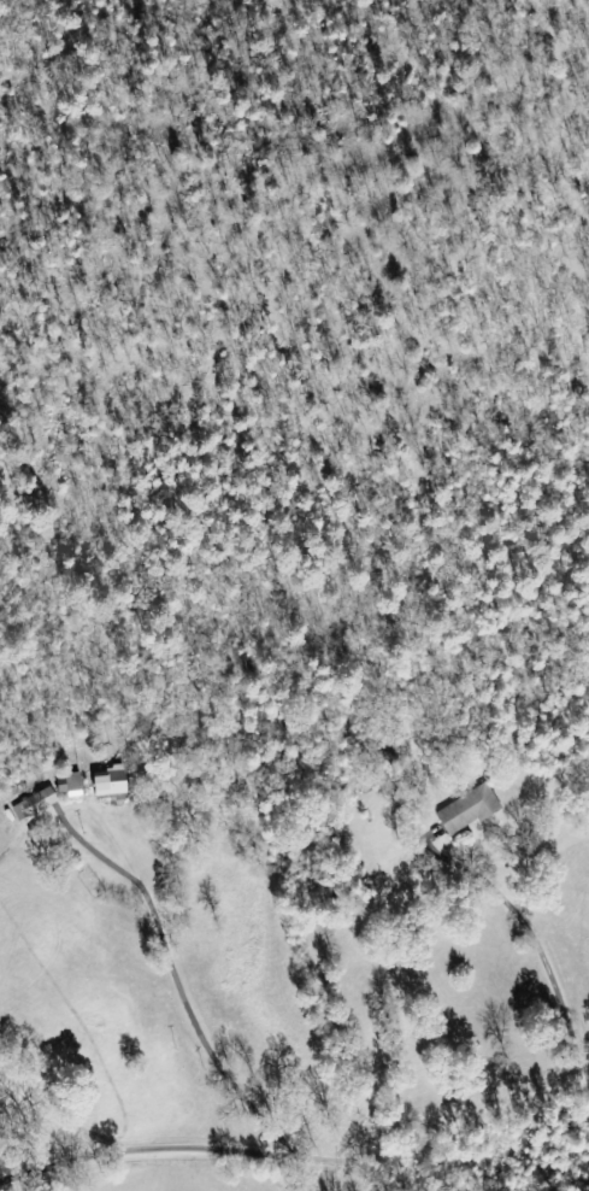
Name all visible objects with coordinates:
building: (116, 784)
building: (71, 786)
building: (36, 804)
building: (467, 810)
road: (290, 1158)

